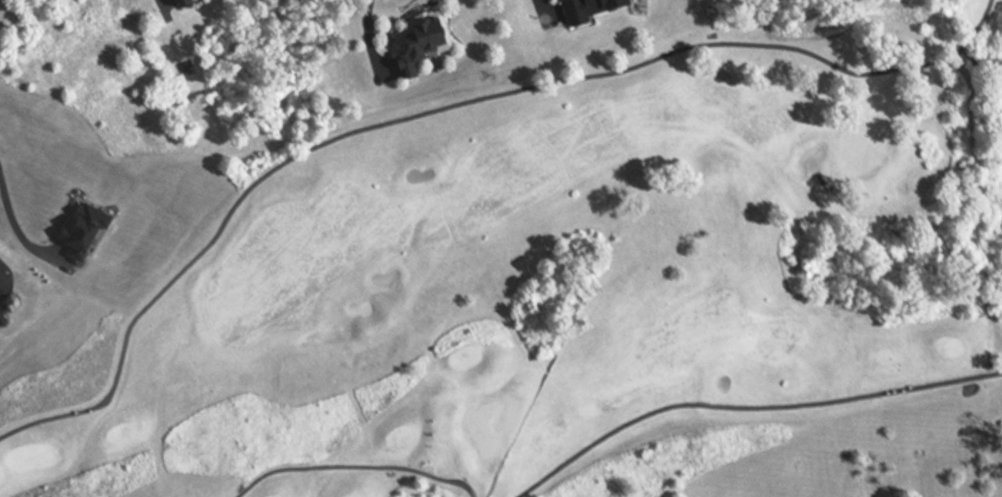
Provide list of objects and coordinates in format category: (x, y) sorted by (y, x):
road: (541, 1)
building: (179, 2)
road: (370, 30)
building: (420, 39)
road: (10, 213)
park: (549, 273)

